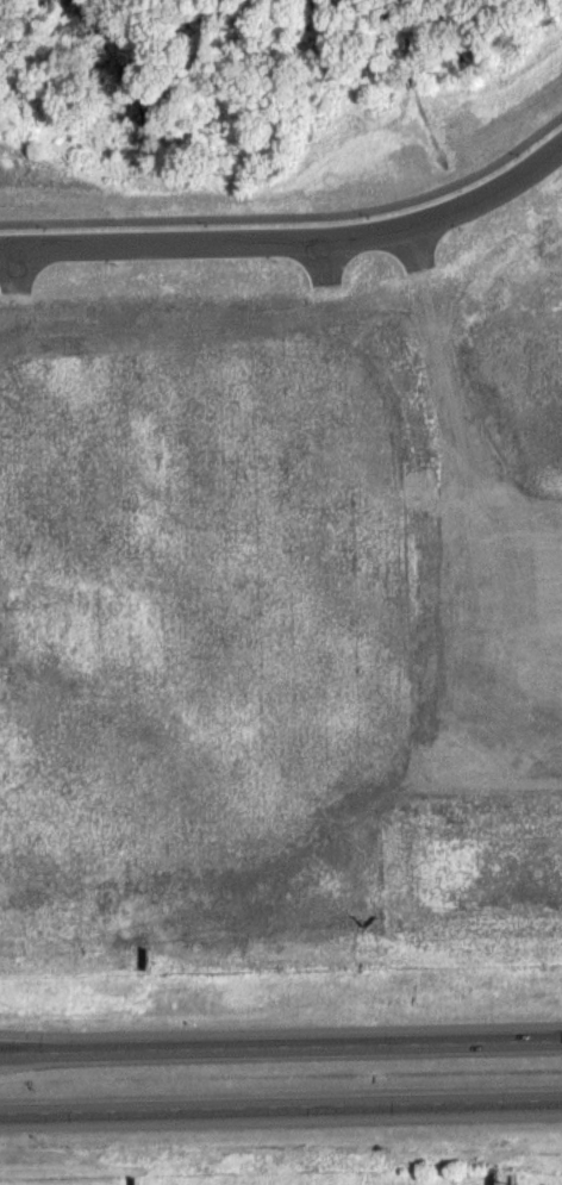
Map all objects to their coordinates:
road: (292, 239)
road: (281, 1043)
road: (295, 1103)
road: (14, 1110)

